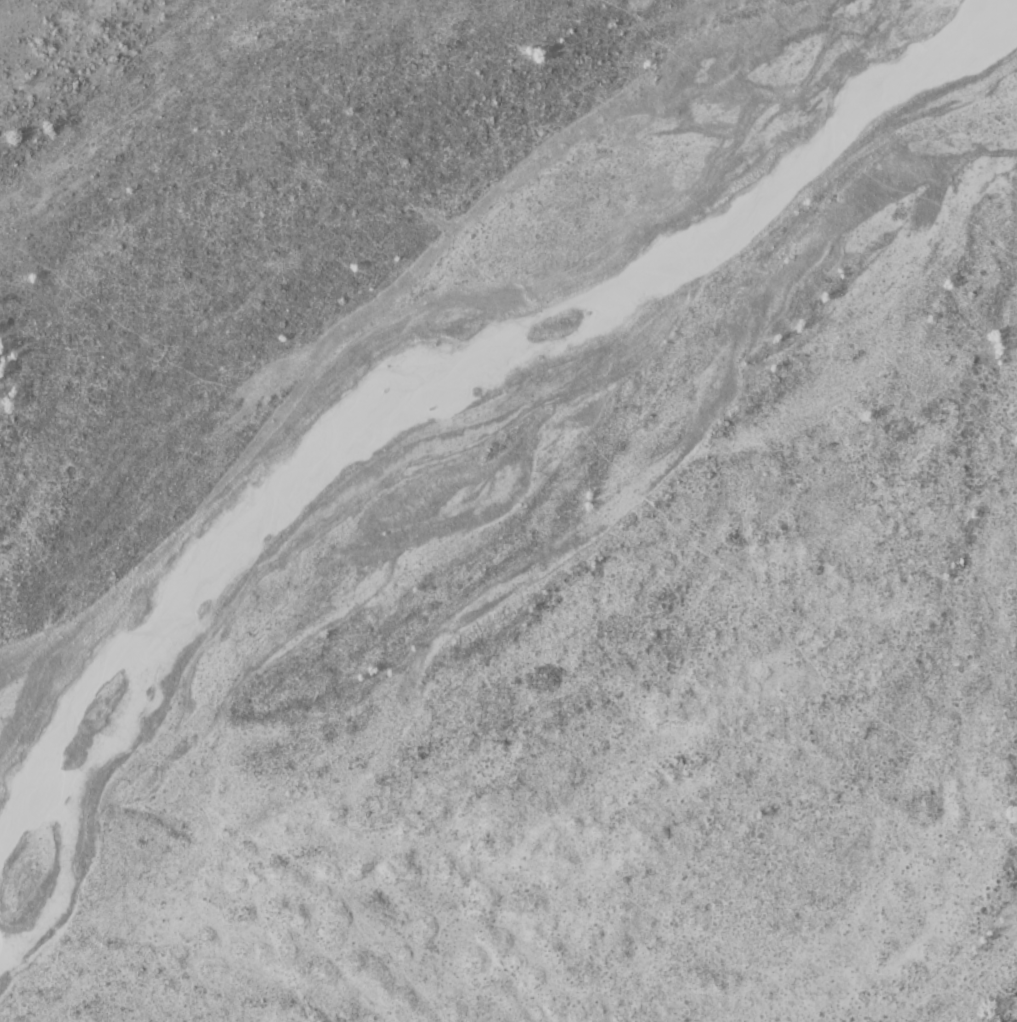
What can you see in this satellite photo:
river: (423, 370)

